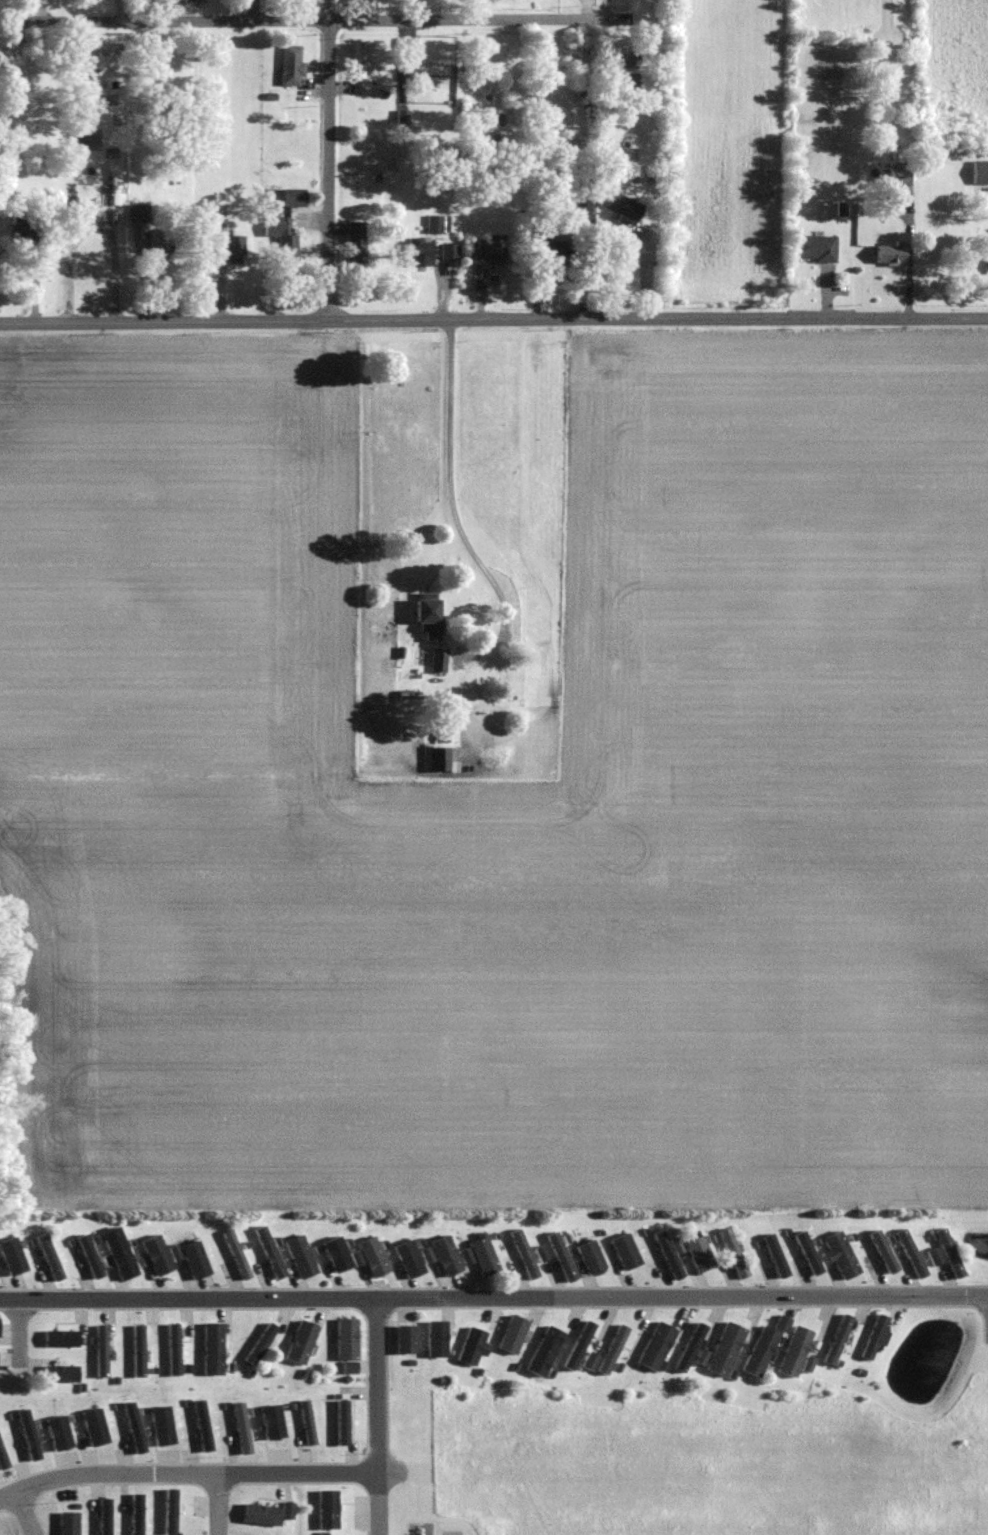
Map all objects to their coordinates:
road: (607, 10)
road: (318, 20)
building: (625, 59)
building: (104, 60)
building: (360, 61)
building: (292, 65)
building: (429, 69)
building: (629, 81)
road: (329, 160)
building: (980, 171)
building: (900, 174)
building: (116, 184)
building: (295, 196)
building: (622, 204)
building: (141, 212)
building: (439, 223)
road: (93, 229)
building: (26, 235)
building: (283, 236)
building: (356, 241)
building: (160, 246)
building: (236, 247)
building: (557, 247)
building: (488, 248)
building: (817, 248)
building: (421, 250)
building: (451, 250)
building: (895, 250)
road: (493, 319)
road: (448, 484)
building: (429, 617)
building: (440, 660)
building: (437, 759)
building: (878, 1251)
building: (627, 1252)
building: (120, 1253)
building: (734, 1253)
building: (911, 1253)
building: (950, 1253)
building: (338, 1254)
building: (700, 1254)
building: (840, 1254)
building: (158, 1255)
building: (237, 1255)
building: (525, 1255)
building: (13, 1256)
building: (447, 1256)
building: (485, 1256)
building: (935, 1256)
building: (302, 1257)
building: (374, 1257)
building: (562, 1257)
building: (50, 1258)
building: (409, 1258)
building: (591, 1258)
road: (493, 1297)
road: (20, 1332)
building: (514, 1335)
building: (874, 1337)
building: (61, 1339)
building: (837, 1339)
building: (407, 1340)
building: (437, 1340)
building: (302, 1343)
building: (348, 1344)
building: (474, 1347)
building: (657, 1347)
building: (691, 1348)
building: (174, 1349)
building: (213, 1349)
building: (138, 1350)
building: (613, 1350)
building: (726, 1350)
building: (102, 1351)
building: (545, 1352)
building: (761, 1352)
building: (795, 1352)
building: (591, 1362)
building: (61, 1373)
road: (378, 1416)
building: (307, 1423)
building: (3, 1459)
road: (186, 1473)
road: (217, 1504)
building: (328, 1509)
road: (25, 1513)
building: (266, 1514)
building: (69, 1523)

